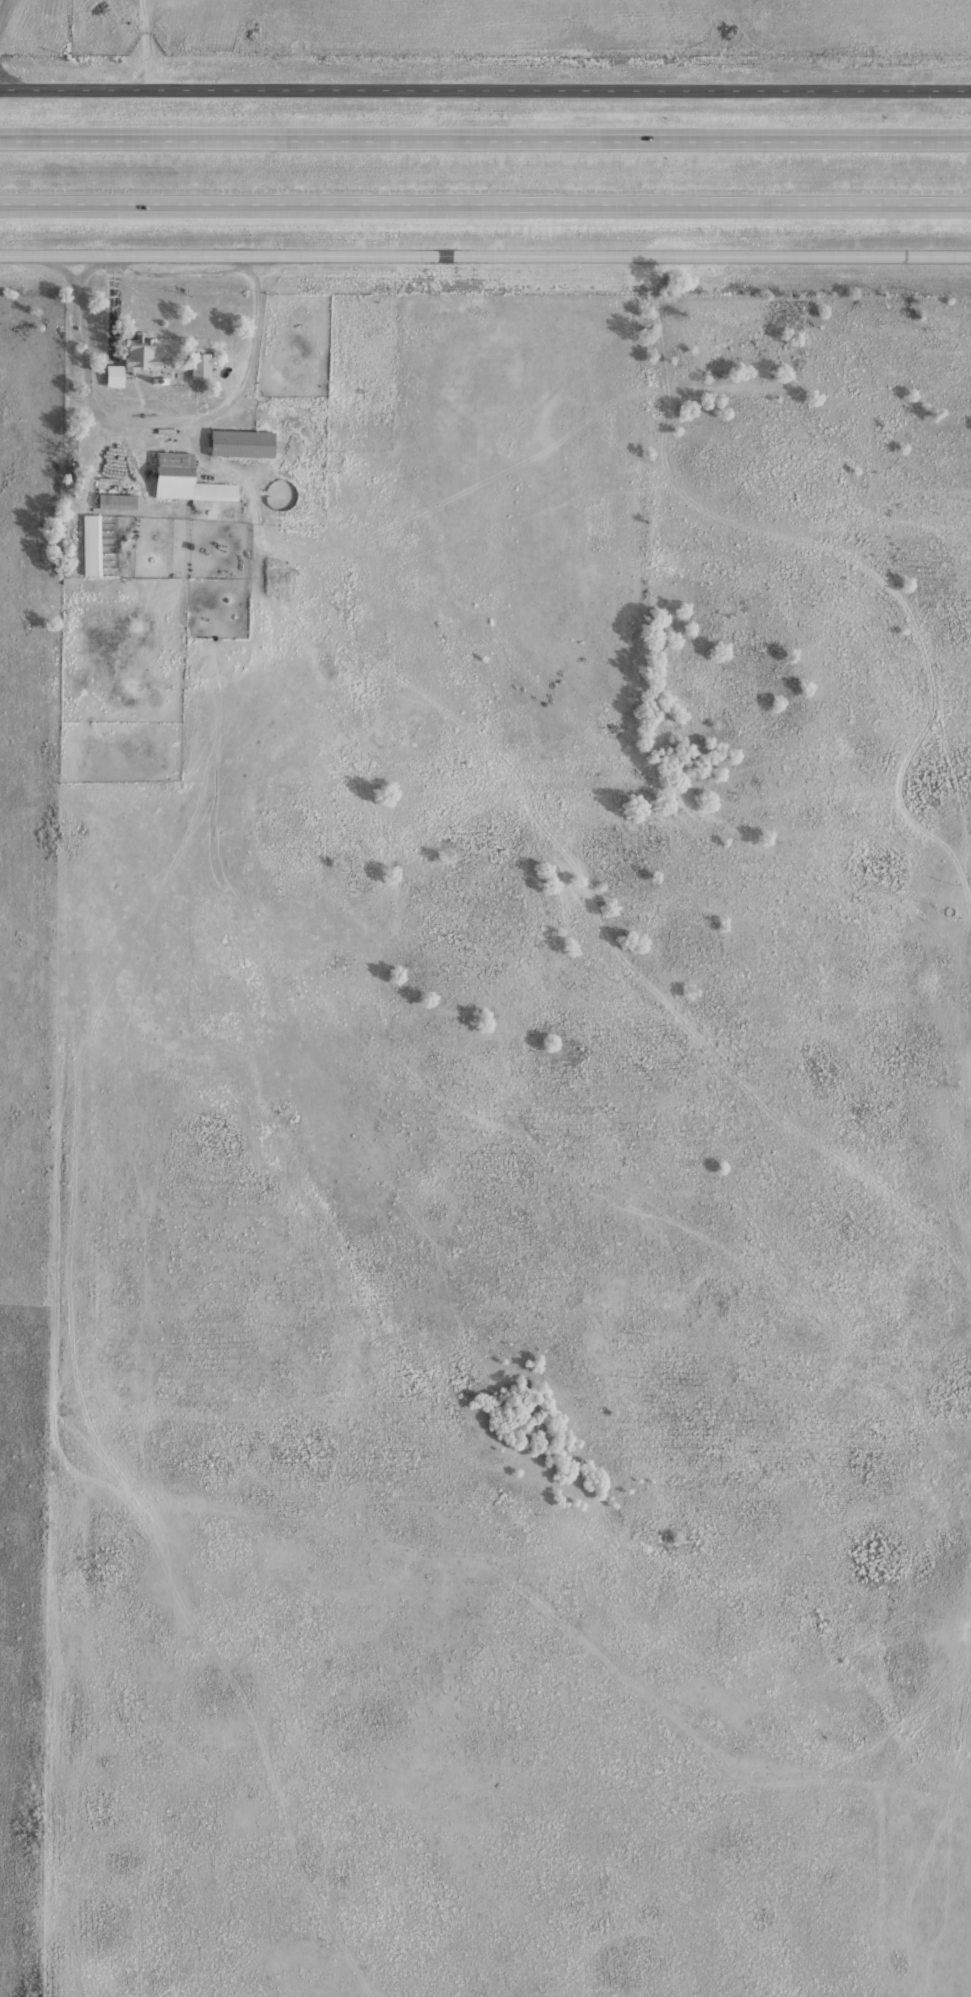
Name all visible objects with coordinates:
road: (4, 11)
airport: (36, 27)
road: (485, 88)
road: (485, 137)
road: (485, 202)
road: (46, 253)
road: (532, 253)
building: (138, 361)
building: (206, 366)
building: (246, 444)
building: (191, 481)
building: (121, 502)
building: (95, 545)
road: (87, 875)
road: (512, 1581)

